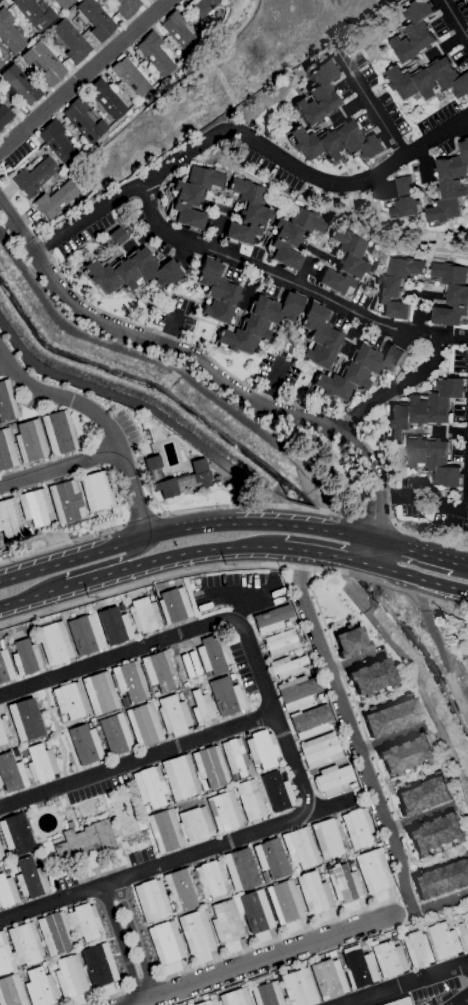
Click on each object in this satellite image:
building: (64, 3)
building: (202, 7)
building: (127, 8)
building: (34, 13)
road: (454, 19)
building: (94, 20)
building: (179, 32)
building: (415, 32)
building: (9, 34)
building: (70, 41)
building: (154, 54)
building: (44, 63)
building: (0, 65)
road: (80, 74)
building: (129, 77)
building: (429, 80)
building: (20, 85)
building: (318, 92)
building: (106, 99)
road: (372, 106)
building: (4, 116)
building: (83, 121)
road: (245, 139)
building: (57, 142)
building: (338, 144)
building: (34, 176)
building: (449, 187)
building: (190, 196)
building: (405, 199)
building: (55, 200)
building: (248, 213)
road: (13, 225)
building: (117, 236)
building: (292, 236)
road: (30, 249)
building: (344, 264)
building: (131, 272)
road: (278, 279)
building: (395, 287)
building: (216, 292)
building: (452, 294)
building: (258, 322)
road: (172, 328)
road: (454, 334)
building: (319, 337)
road: (181, 341)
road: (3, 359)
building: (359, 371)
road: (272, 382)
road: (393, 388)
road: (236, 393)
building: (7, 402)
building: (425, 408)
road: (346, 418)
road: (101, 419)
building: (58, 432)
building: (30, 441)
building: (6, 451)
building: (434, 461)
road: (60, 467)
building: (198, 476)
building: (96, 492)
road: (399, 496)
building: (65, 501)
road: (258, 506)
building: (34, 507)
road: (458, 507)
road: (389, 508)
road: (374, 514)
building: (8, 518)
road: (140, 521)
road: (181, 529)
building: (0, 540)
road: (61, 545)
road: (415, 552)
road: (316, 554)
road: (464, 564)
road: (142, 565)
road: (83, 569)
road: (169, 575)
road: (414, 578)
road: (401, 591)
road: (237, 593)
building: (151, 598)
road: (9, 604)
building: (173, 605)
road: (241, 608)
road: (463, 608)
building: (144, 616)
building: (272, 619)
building: (287, 623)
building: (114, 627)
building: (29, 631)
building: (84, 634)
building: (31, 638)
building: (280, 642)
building: (349, 642)
building: (54, 643)
building: (210, 657)
building: (26, 658)
building: (186, 665)
building: (313, 665)
building: (5, 666)
building: (287, 667)
building: (159, 671)
building: (232, 676)
building: (370, 677)
building: (129, 682)
building: (185, 684)
building: (297, 691)
building: (99, 694)
building: (156, 695)
building: (180, 696)
building: (319, 696)
building: (226, 697)
building: (69, 701)
building: (124, 702)
building: (201, 708)
building: (173, 715)
building: (389, 717)
building: (62, 718)
building: (25, 720)
building: (310, 721)
building: (143, 725)
building: (2, 732)
road: (54, 733)
building: (115, 735)
building: (84, 743)
building: (46, 744)
building: (262, 750)
road: (289, 750)
building: (320, 750)
building: (15, 753)
building: (407, 754)
building: (233, 757)
road: (362, 759)
road: (137, 760)
building: (40, 763)
building: (210, 767)
building: (256, 770)
building: (11, 774)
building: (180, 778)
building: (333, 780)
building: (352, 785)
building: (149, 788)
building: (278, 792)
building: (423, 795)
building: (250, 800)
road: (330, 806)
building: (225, 812)
building: (195, 824)
building: (358, 828)
building: (164, 831)
building: (16, 834)
building: (435, 835)
building: (328, 838)
building: (85, 840)
building: (300, 848)
building: (1, 856)
building: (271, 858)
building: (351, 866)
building: (5, 868)
building: (320, 869)
building: (241, 870)
building: (296, 871)
building: (373, 871)
building: (264, 877)
building: (322, 877)
building: (30, 878)
building: (210, 879)
building: (440, 880)
building: (344, 884)
building: (180, 890)
building: (7, 892)
building: (314, 893)
building: (151, 901)
road: (392, 901)
building: (284, 902)
building: (255, 912)
building: (225, 922)
building: (83, 923)
building: (418, 923)
building: (454, 926)
building: (465, 926)
building: (425, 928)
building: (195, 931)
building: (54, 933)
building: (393, 937)
road: (134, 940)
road: (276, 940)
building: (445, 940)
building: (165, 942)
building: (25, 944)
road: (121, 944)
building: (417, 949)
building: (5, 956)
building: (389, 959)
road: (264, 960)
building: (301, 963)
building: (43, 964)
building: (98, 965)
building: (358, 968)
building: (69, 976)
building: (327, 980)
road: (406, 983)
road: (143, 985)
building: (39, 987)
building: (298, 988)
building: (11, 991)
building: (267, 994)
building: (235, 997)
road: (106, 998)
road: (462, 1000)
building: (208, 1001)
building: (399, 1001)

